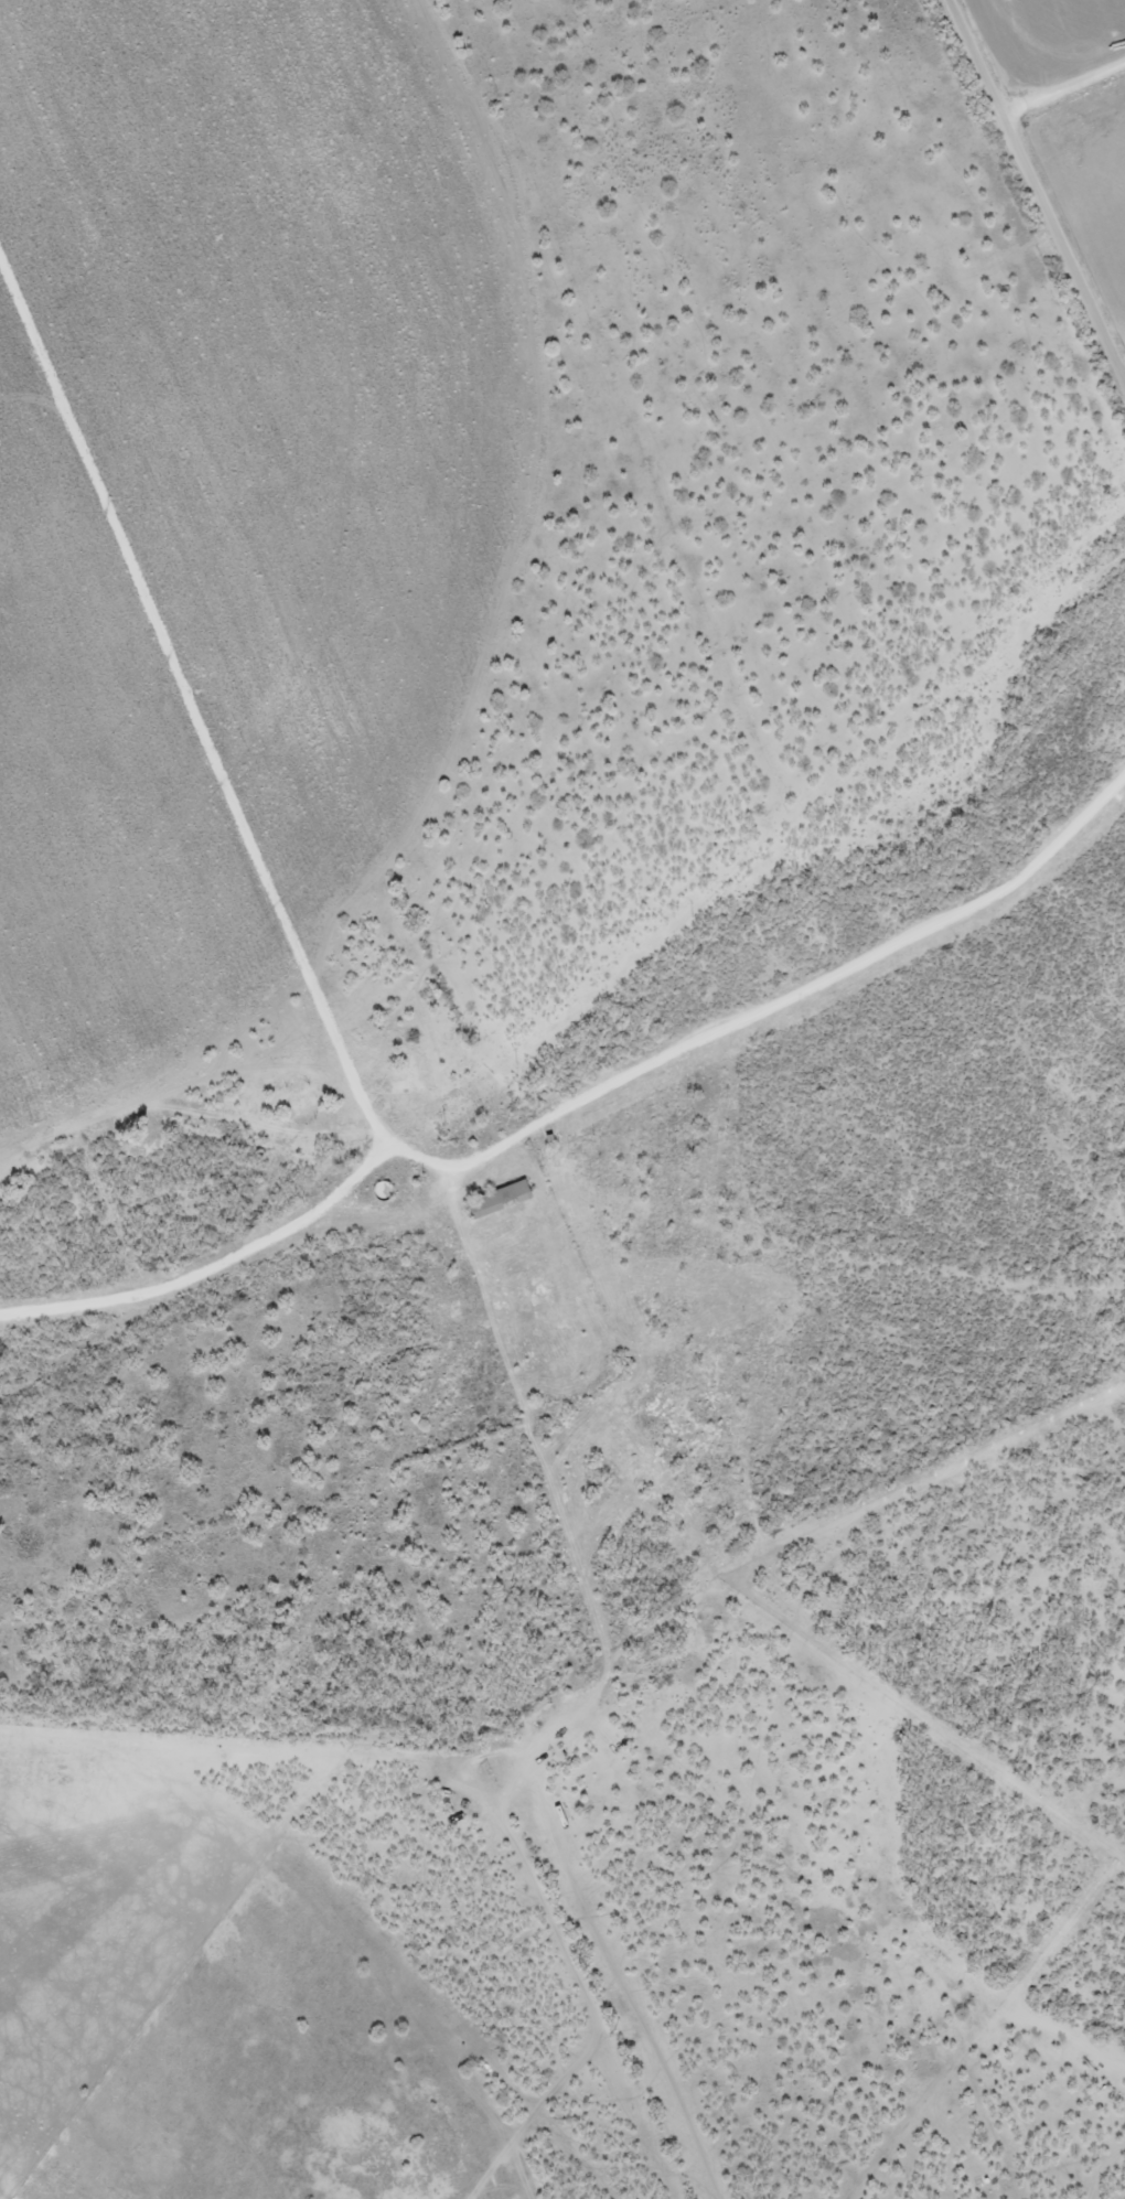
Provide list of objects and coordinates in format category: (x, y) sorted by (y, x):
road: (1064, 92)
road: (1037, 187)
road: (562, 440)
road: (586, 1103)
building: (496, 1200)
building: (342, 1208)
building: (443, 1238)
road: (479, 1259)

